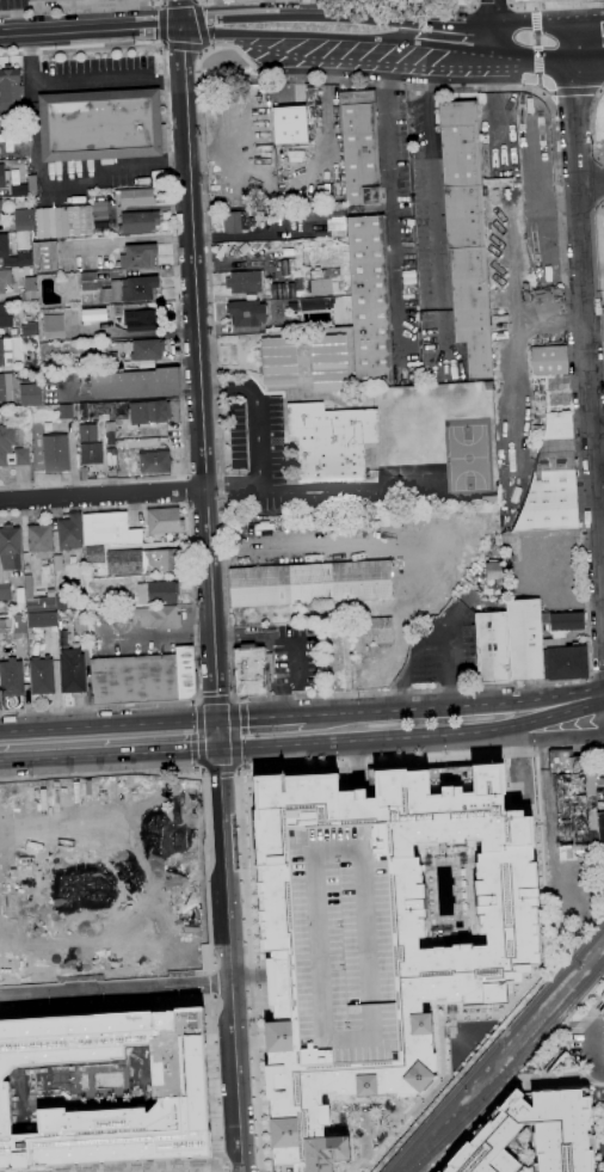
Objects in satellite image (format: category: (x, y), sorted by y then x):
building: (26, 0)
building: (35, 0)
road: (224, 0)
building: (526, 0)
road: (195, 1)
road: (399, 4)
road: (594, 4)
road: (492, 5)
road: (548, 6)
road: (217, 7)
road: (316, 7)
road: (82, 8)
road: (297, 14)
road: (492, 20)
traffic signals: (180, 27)
road: (201, 27)
road: (90, 31)
road: (586, 31)
road: (296, 35)
road: (452, 39)
road: (530, 43)
road: (162, 45)
road: (586, 49)
railway: (513, 60)
road: (82, 84)
building: (8, 92)
road: (573, 97)
road: (593, 124)
building: (100, 125)
building: (290, 125)
building: (359, 148)
building: (4, 176)
road: (70, 178)
building: (158, 178)
road: (170, 179)
building: (500, 182)
road: (591, 183)
building: (31, 184)
building: (19, 190)
building: (135, 197)
building: (6, 205)
building: (98, 209)
road: (433, 209)
road: (396, 210)
building: (23, 220)
building: (62, 221)
building: (236, 221)
building: (138, 222)
building: (335, 222)
building: (464, 234)
building: (4, 244)
building: (45, 257)
building: (138, 257)
road: (599, 268)
building: (5, 280)
building: (88, 281)
building: (244, 282)
building: (323, 286)
building: (130, 289)
building: (283, 289)
building: (30, 290)
building: (369, 300)
building: (312, 303)
building: (246, 313)
building: (6, 315)
road: (196, 319)
building: (141, 320)
building: (51, 326)
building: (30, 329)
road: (586, 332)
building: (146, 350)
building: (5, 351)
building: (279, 361)
building: (106, 362)
building: (328, 363)
building: (553, 373)
building: (131, 383)
building: (6, 387)
building: (30, 394)
railway: (519, 400)
building: (117, 409)
building: (64, 411)
building: (149, 412)
building: (87, 431)
park: (257, 434)
road: (255, 436)
building: (331, 441)
building: (11, 449)
building: (56, 454)
park: (469, 458)
building: (154, 464)
building: (553, 480)
road: (93, 481)
road: (187, 492)
road: (103, 493)
building: (165, 522)
building: (285, 523)
building: (109, 529)
building: (69, 532)
building: (41, 541)
building: (10, 547)
building: (159, 562)
building: (58, 563)
building: (493, 570)
road: (519, 573)
building: (309, 583)
building: (5, 591)
building: (158, 593)
road: (193, 609)
building: (159, 618)
building: (42, 619)
building: (80, 621)
building: (561, 621)
building: (18, 625)
building: (337, 628)
building: (371, 632)
building: (524, 640)
road: (291, 643)
building: (492, 646)
building: (563, 661)
building: (333, 662)
road: (588, 664)
building: (249, 670)
building: (72, 671)
building: (42, 676)
road: (597, 676)
building: (143, 679)
road: (215, 681)
building: (11, 685)
road: (232, 700)
road: (470, 706)
road: (310, 714)
road: (249, 719)
traffic signals: (217, 723)
road: (109, 728)
road: (217, 736)
road: (413, 737)
road: (518, 738)
traffic signals: (218, 749)
road: (109, 755)
road: (393, 757)
road: (158, 771)
building: (573, 804)
road: (548, 811)
building: (600, 834)
road: (240, 846)
railway: (209, 882)
road: (209, 894)
building: (372, 937)
road: (229, 961)
road: (116, 989)
road: (107, 999)
road: (251, 1021)
road: (218, 1038)
railway: (494, 1047)
road: (593, 1054)
railway: (507, 1068)
building: (179, 1091)
road: (501, 1092)
building: (534, 1133)
road: (196, 1170)

